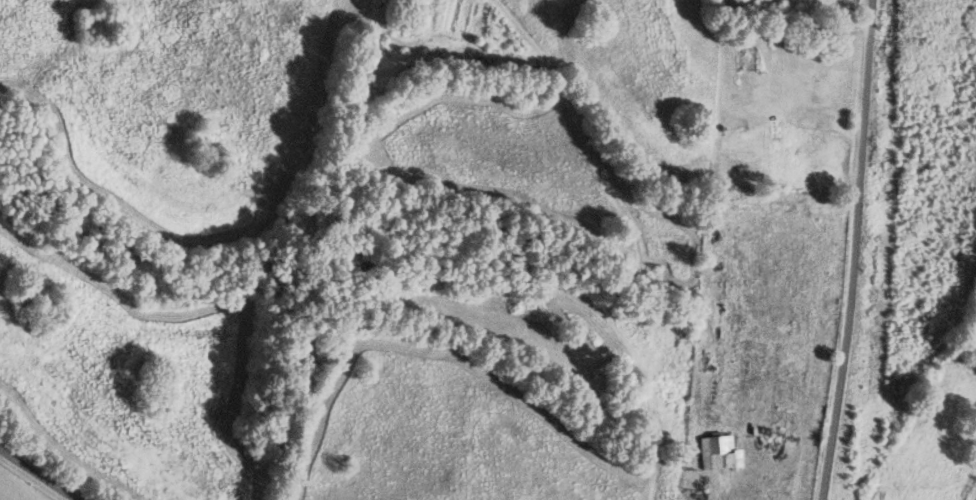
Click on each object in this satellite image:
road: (858, 250)
building: (720, 453)
road: (38, 474)

